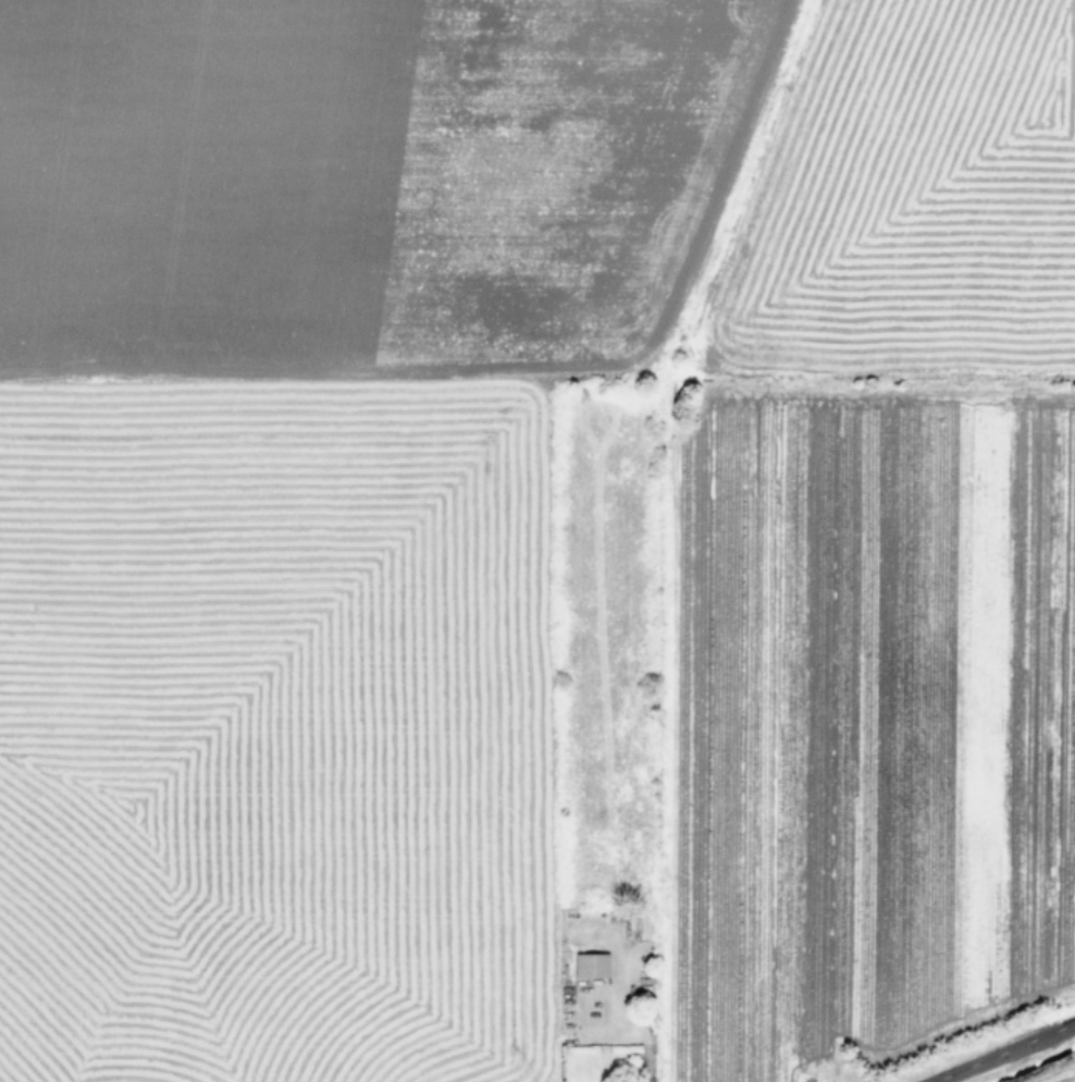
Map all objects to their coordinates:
crop: (529, 531)
building: (590, 964)
road: (1000, 1052)
crop: (1055, 1073)

